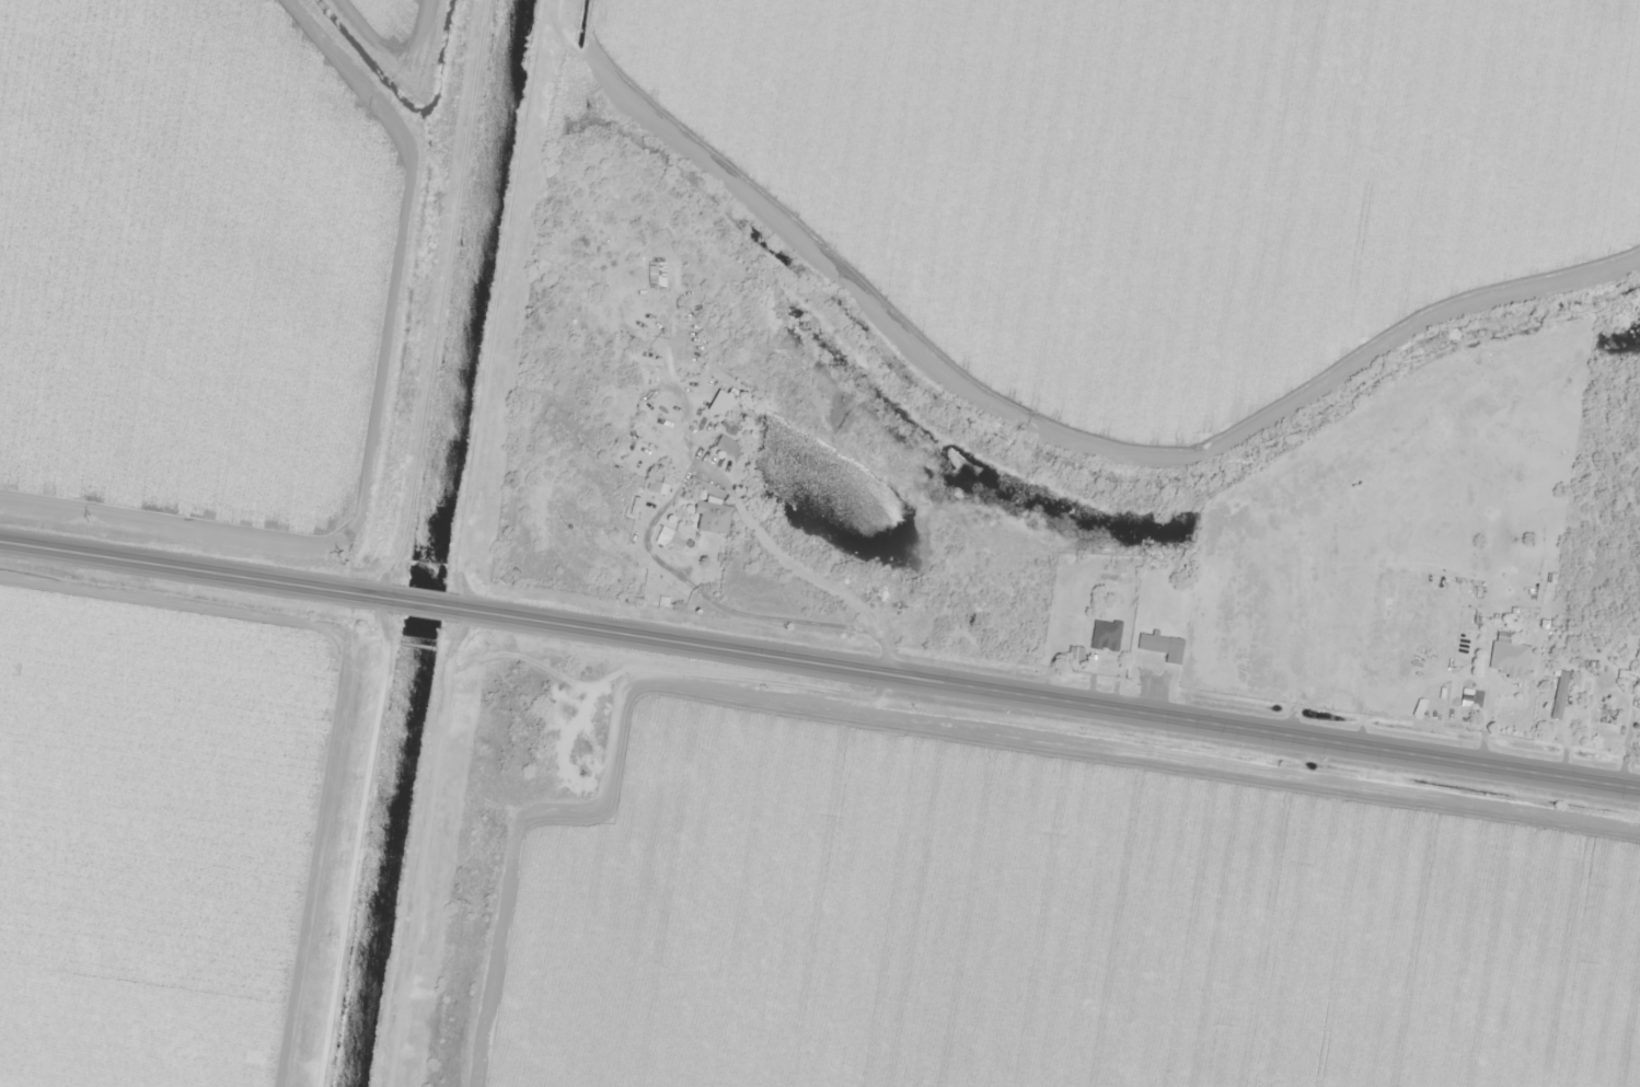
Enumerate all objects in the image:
river: (367, 57)
power tower: (88, 519)
road: (397, 542)
river: (434, 543)
power tower: (339, 555)
road: (196, 569)
power tower: (512, 578)
road: (424, 602)
building: (1513, 652)
road: (1048, 696)
power tower: (464, 905)

